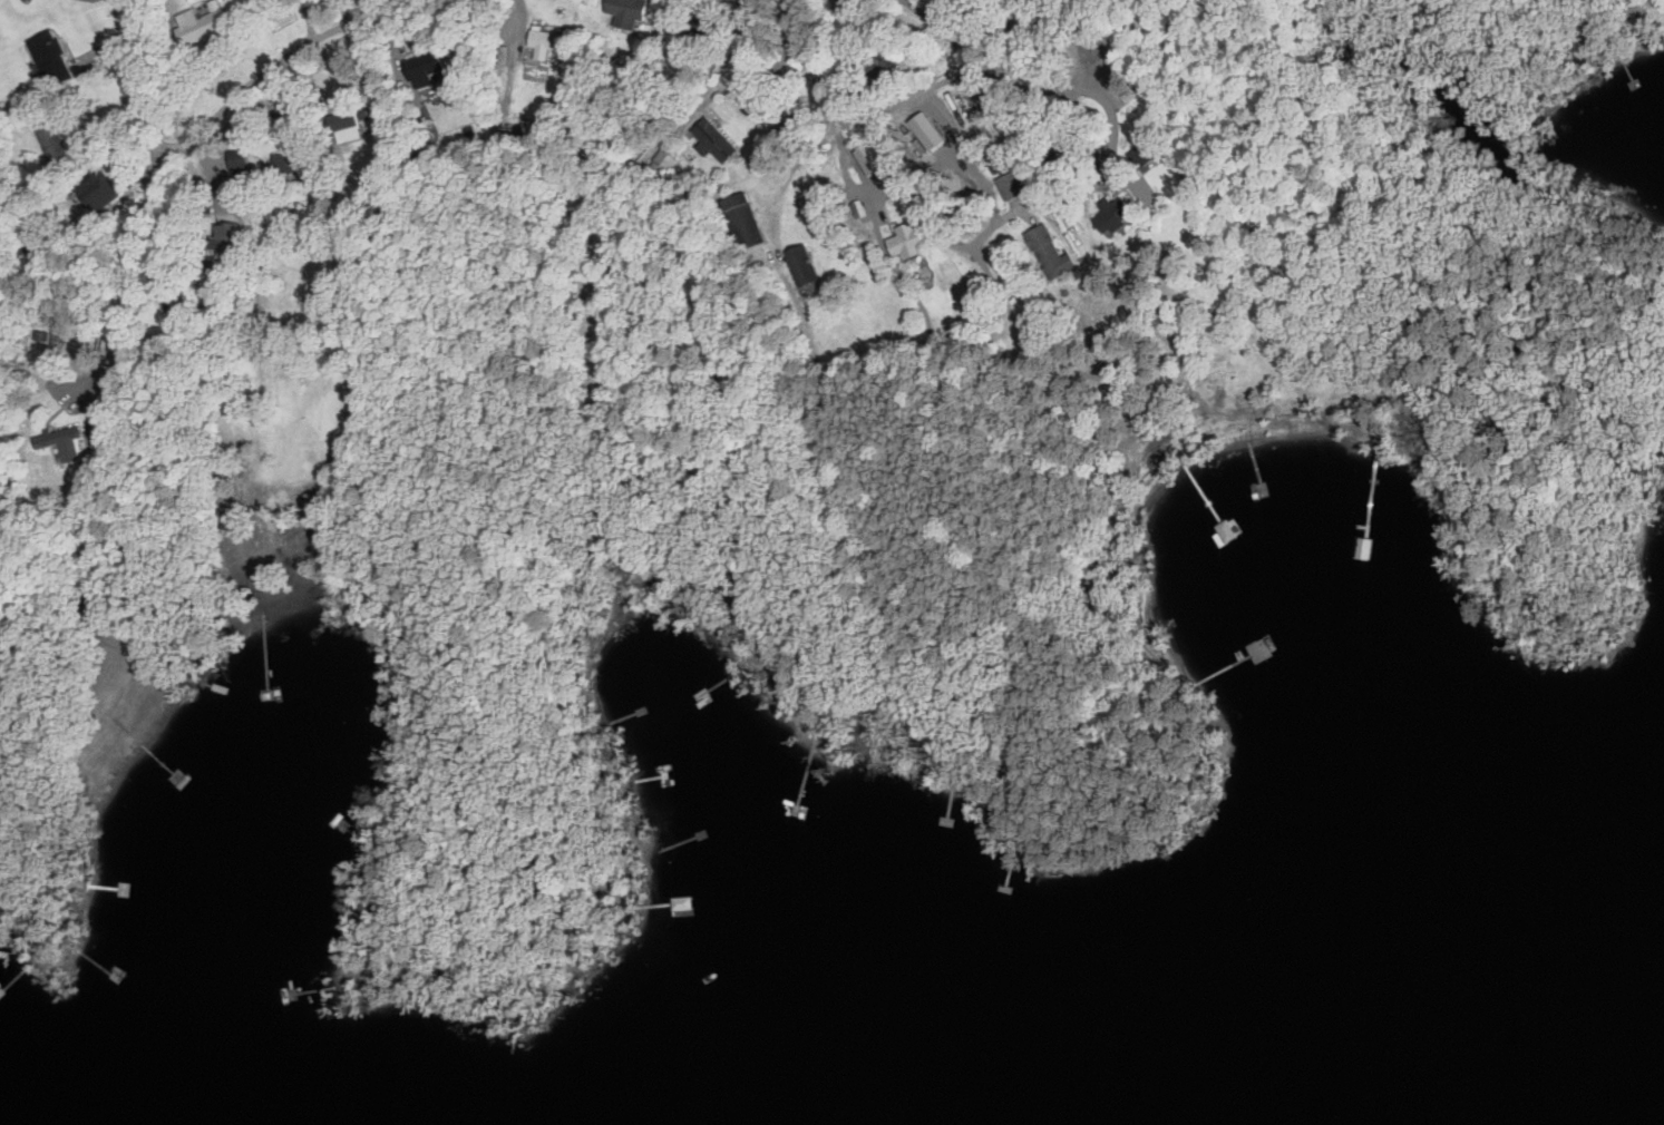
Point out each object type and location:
building: (1035, 0)
building: (835, 4)
building: (624, 11)
building: (197, 26)
building: (503, 31)
building: (542, 42)
building: (49, 58)
road: (1013, 66)
building: (421, 67)
building: (877, 67)
building: (296, 105)
road: (224, 107)
road: (867, 115)
building: (344, 124)
building: (505, 136)
building: (50, 140)
building: (713, 141)
building: (291, 163)
road: (859, 163)
building: (235, 164)
road: (1092, 170)
building: (1014, 183)
building: (95, 190)
road: (925, 205)
building: (1111, 214)
building: (741, 221)
building: (223, 238)
building: (905, 238)
building: (1049, 253)
building: (801, 264)
building: (164, 287)
building: (65, 444)
building: (1206, 654)
building: (701, 904)

